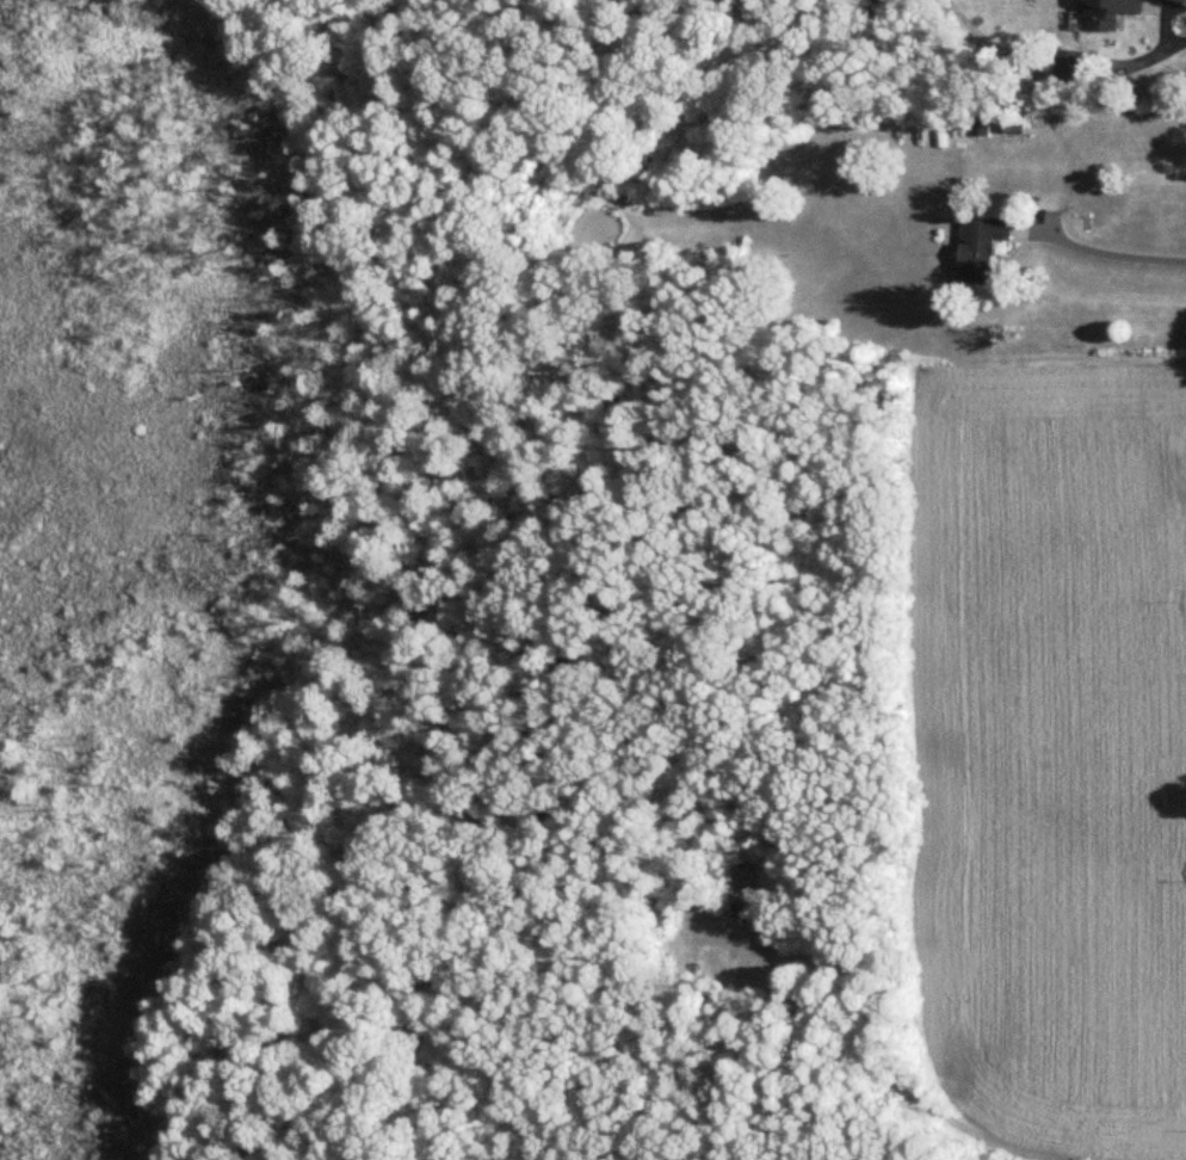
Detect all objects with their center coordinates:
building: (1113, 13)
road: (1182, 19)
building: (1071, 67)
building: (1015, 119)
building: (986, 247)
road: (1119, 254)
building: (693, 876)
building: (742, 884)
road: (885, 1076)

